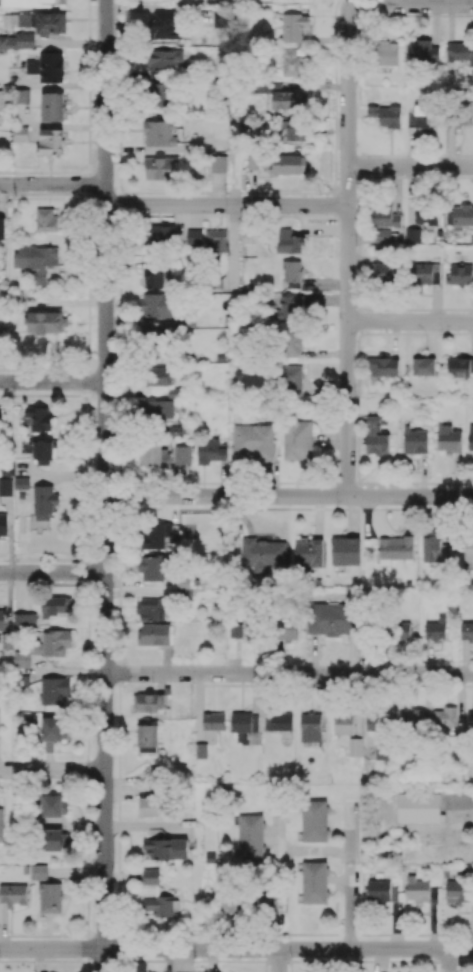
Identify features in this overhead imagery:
building: (30, 3)
road: (412, 5)
building: (20, 19)
building: (50, 22)
building: (164, 24)
building: (293, 26)
building: (25, 39)
building: (7, 41)
building: (422, 51)
building: (459, 51)
building: (387, 53)
building: (165, 59)
building: (292, 62)
building: (46, 66)
building: (162, 94)
building: (22, 95)
building: (288, 99)
building: (2, 100)
building: (52, 106)
building: (385, 115)
building: (420, 116)
building: (296, 129)
building: (159, 132)
building: (20, 133)
building: (51, 143)
building: (218, 163)
building: (288, 163)
road: (410, 166)
building: (161, 168)
road: (53, 184)
road: (226, 205)
building: (426, 214)
building: (459, 216)
building: (384, 217)
building: (47, 218)
building: (2, 227)
building: (158, 233)
building: (412, 234)
building: (194, 237)
building: (215, 240)
building: (288, 241)
road: (348, 251)
building: (36, 260)
building: (291, 270)
building: (386, 272)
building: (424, 272)
building: (459, 274)
building: (154, 277)
building: (155, 308)
building: (287, 308)
building: (46, 321)
road: (410, 321)
building: (292, 343)
building: (423, 365)
building: (460, 366)
building: (382, 367)
building: (156, 375)
building: (291, 378)
road: (52, 382)
building: (174, 392)
building: (156, 408)
building: (40, 417)
building: (376, 435)
building: (470, 438)
building: (297, 439)
building: (449, 439)
building: (253, 440)
building: (415, 440)
building: (211, 450)
building: (44, 451)
building: (156, 453)
building: (182, 454)
building: (21, 482)
road: (105, 485)
building: (5, 486)
road: (289, 496)
building: (43, 504)
building: (3, 524)
building: (394, 548)
building: (434, 548)
building: (468, 549)
building: (345, 550)
building: (262, 551)
building: (308, 552)
building: (151, 567)
road: (52, 572)
building: (54, 606)
building: (150, 608)
building: (2, 618)
building: (329, 618)
building: (24, 620)
building: (436, 628)
building: (242, 629)
building: (285, 629)
building: (466, 630)
building: (404, 631)
building: (154, 634)
building: (53, 642)
building: (21, 658)
road: (289, 673)
building: (55, 690)
building: (149, 701)
building: (445, 716)
building: (378, 717)
building: (412, 718)
building: (213, 720)
building: (470, 720)
building: (241, 721)
building: (278, 721)
building: (343, 724)
building: (310, 727)
building: (53, 730)
building: (147, 738)
building: (355, 746)
building: (201, 750)
road: (52, 769)
building: (158, 770)
road: (464, 798)
building: (53, 805)
building: (151, 805)
building: (314, 820)
building: (1, 823)
building: (250, 836)
building: (52, 839)
building: (166, 847)
road: (297, 851)
building: (39, 871)
building: (150, 876)
road: (350, 877)
building: (314, 882)
building: (417, 889)
building: (381, 890)
building: (458, 892)
building: (13, 893)
building: (50, 896)
building: (267, 902)
building: (230, 903)
building: (161, 905)
road: (236, 949)
road: (278, 960)
road: (448, 960)

